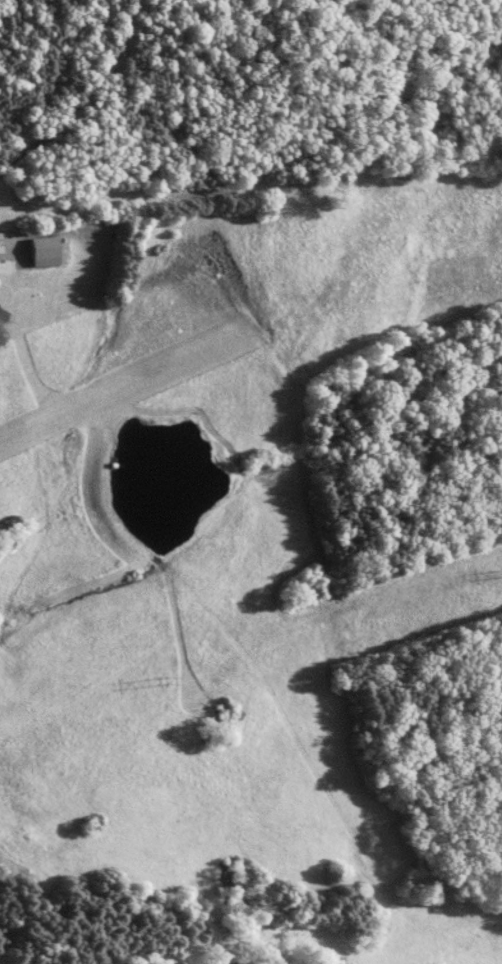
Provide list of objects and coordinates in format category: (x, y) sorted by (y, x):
building: (0, 243)
building: (44, 252)
power tower: (160, 671)

